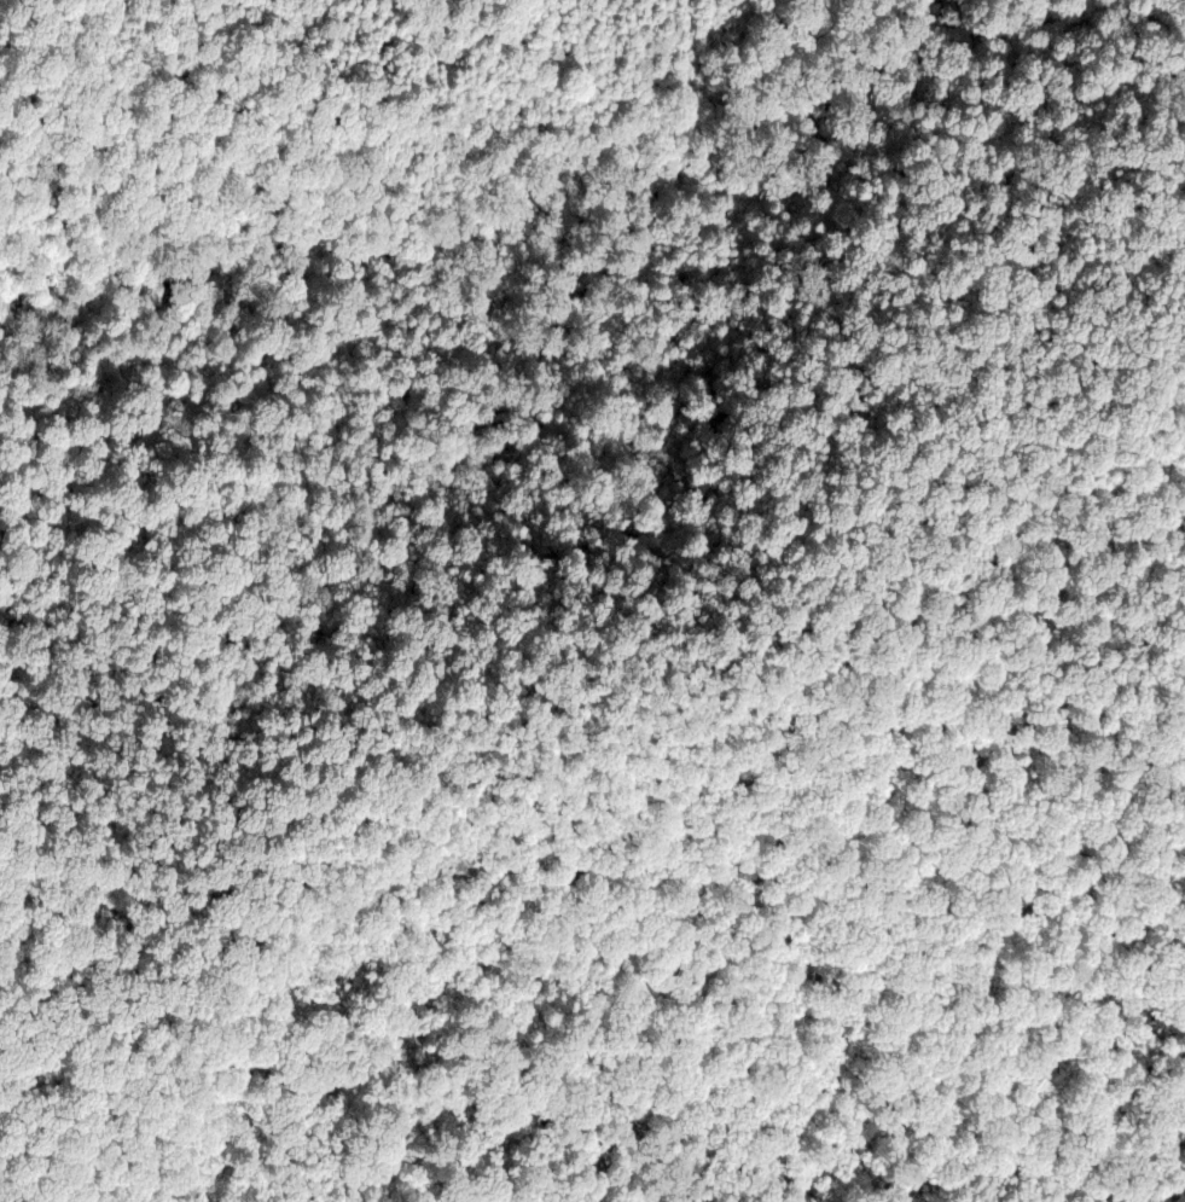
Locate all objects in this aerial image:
road: (1052, 13)
road: (794, 585)

